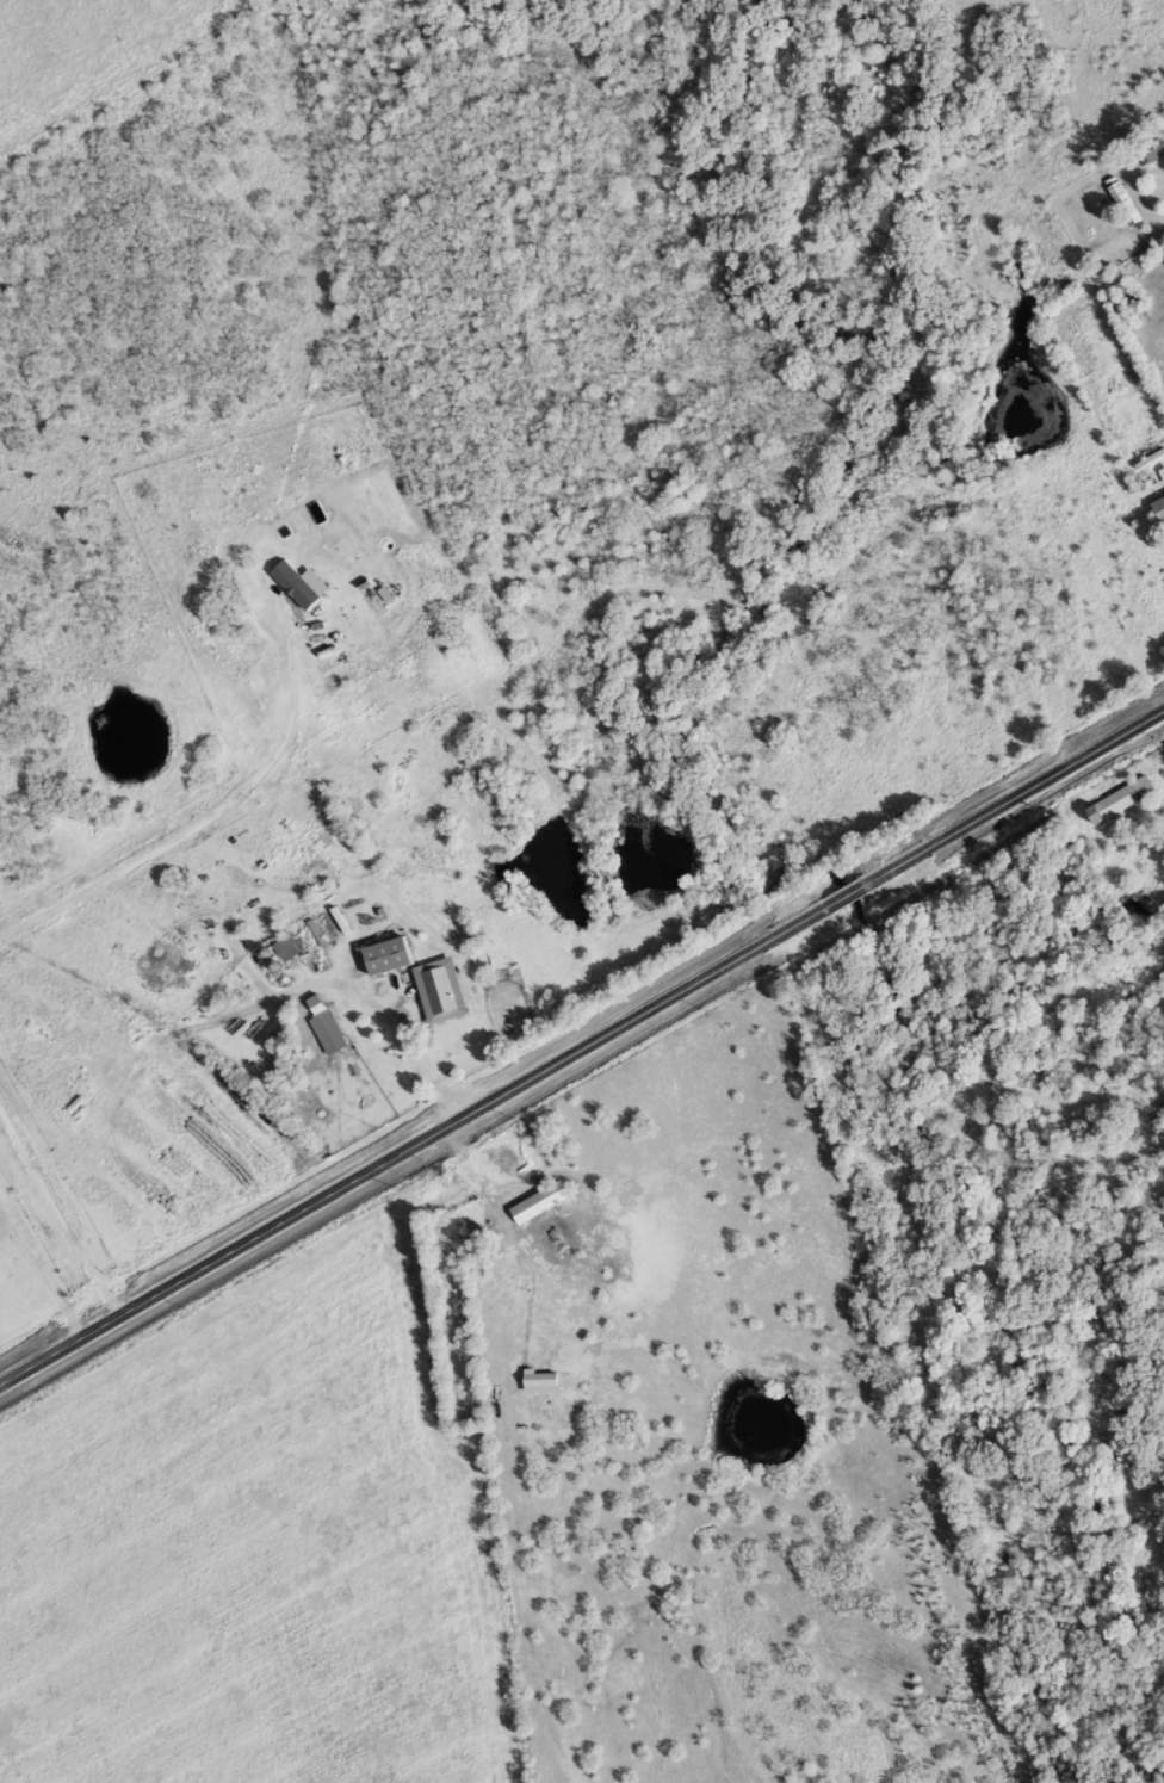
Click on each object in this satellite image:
building: (1151, 148)
building: (1121, 204)
building: (1157, 509)
building: (299, 586)
building: (1113, 799)
road: (203, 824)
building: (284, 948)
building: (384, 955)
building: (435, 990)
road: (371, 996)
building: (322, 1026)
road: (581, 1042)
building: (535, 1202)
road: (58, 1207)

